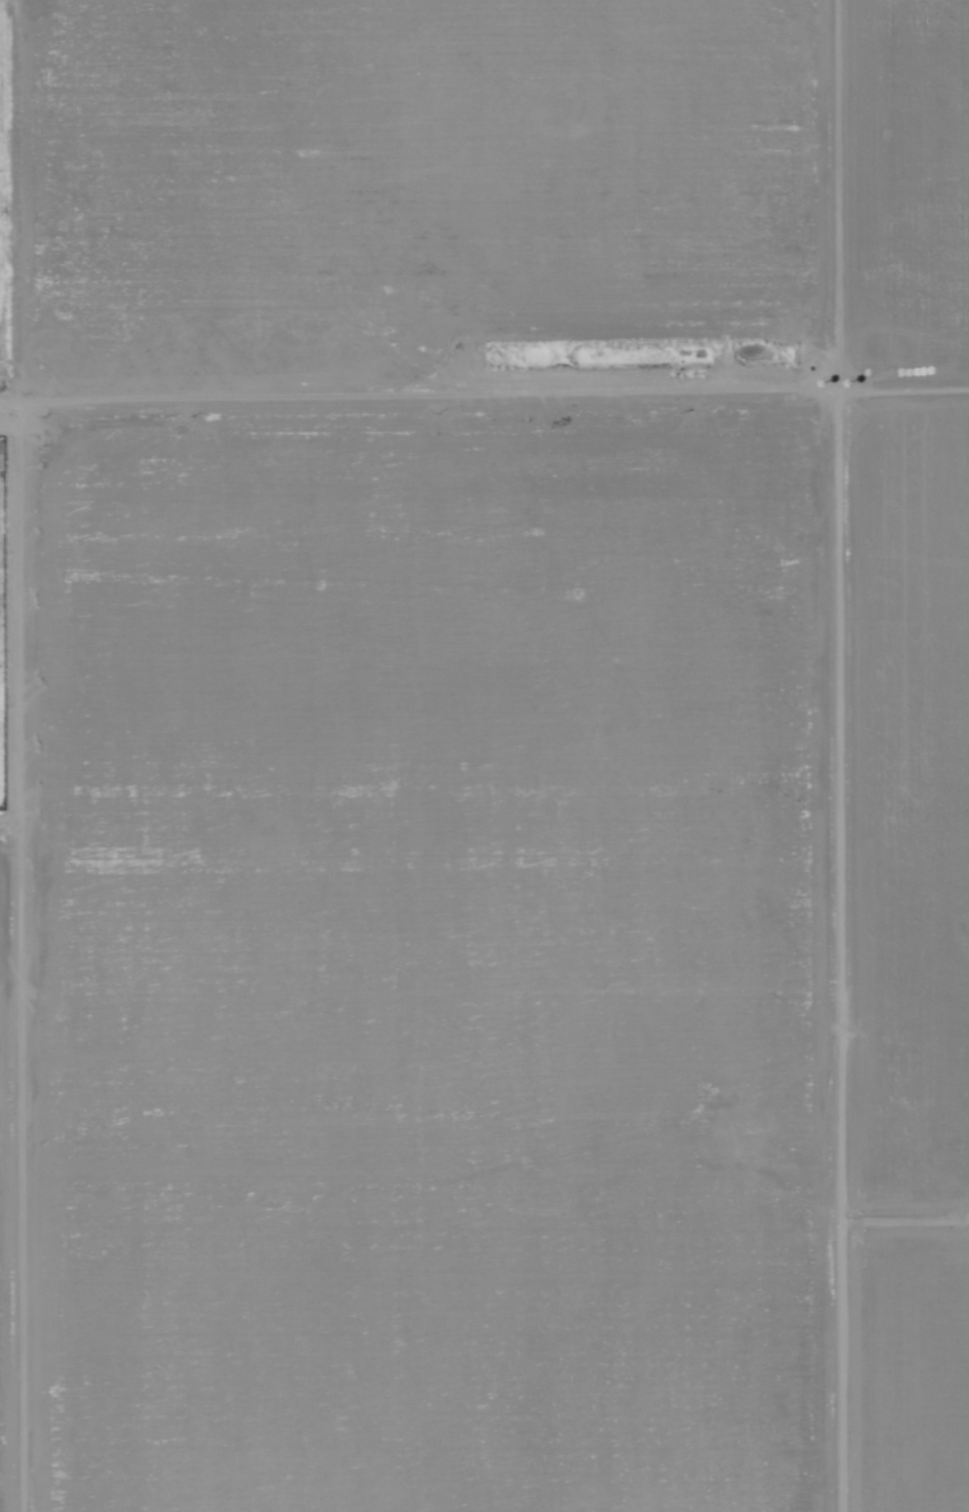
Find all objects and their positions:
building: (220, 1358)

